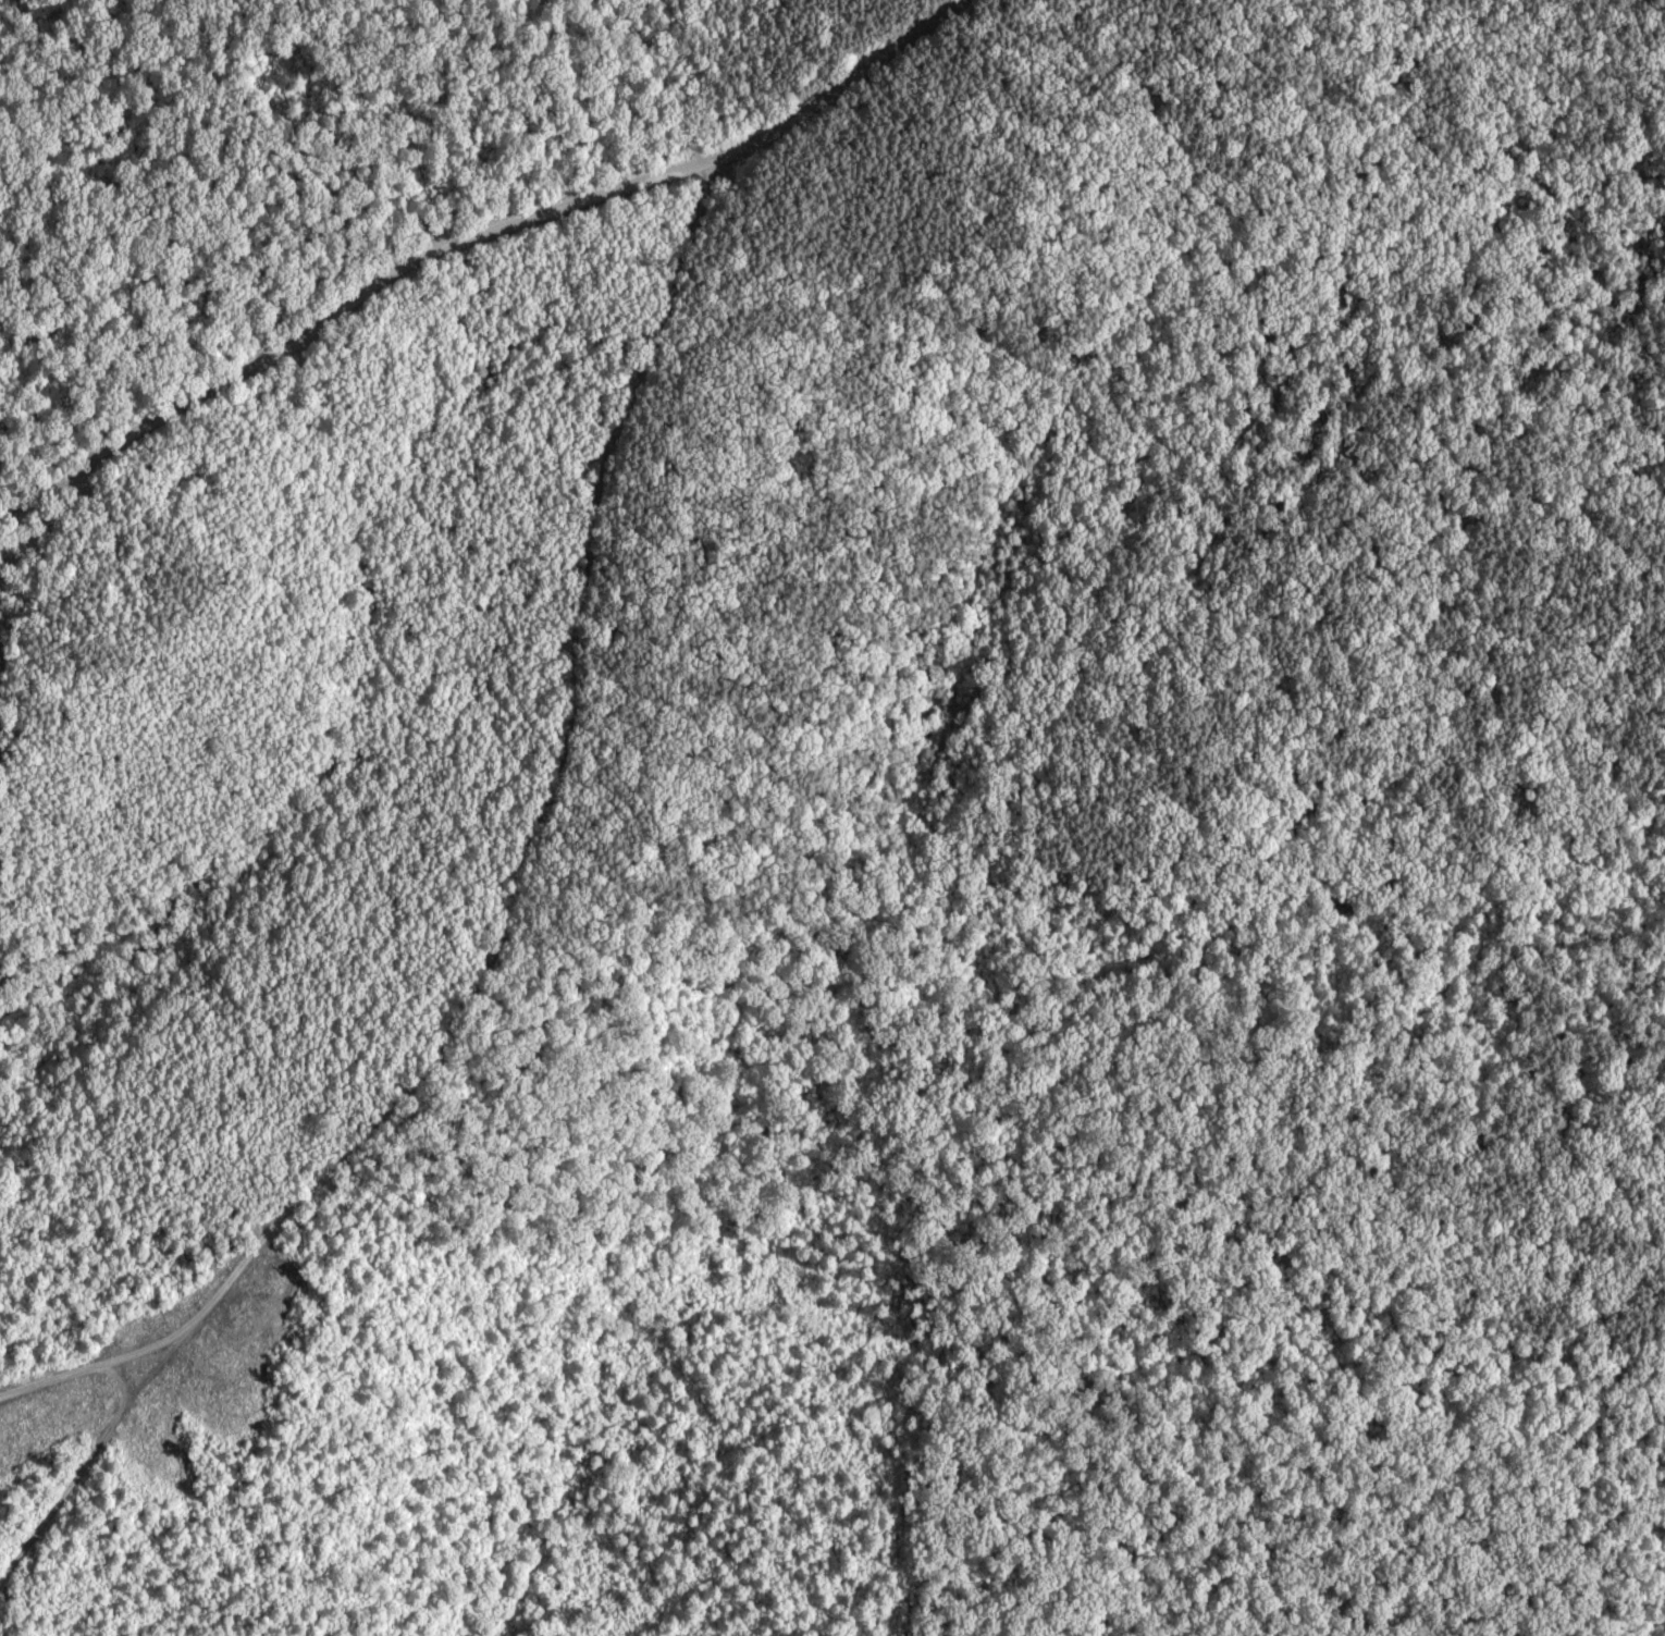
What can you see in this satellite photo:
road: (720, 172)
road: (416, 280)
road: (86, 466)

